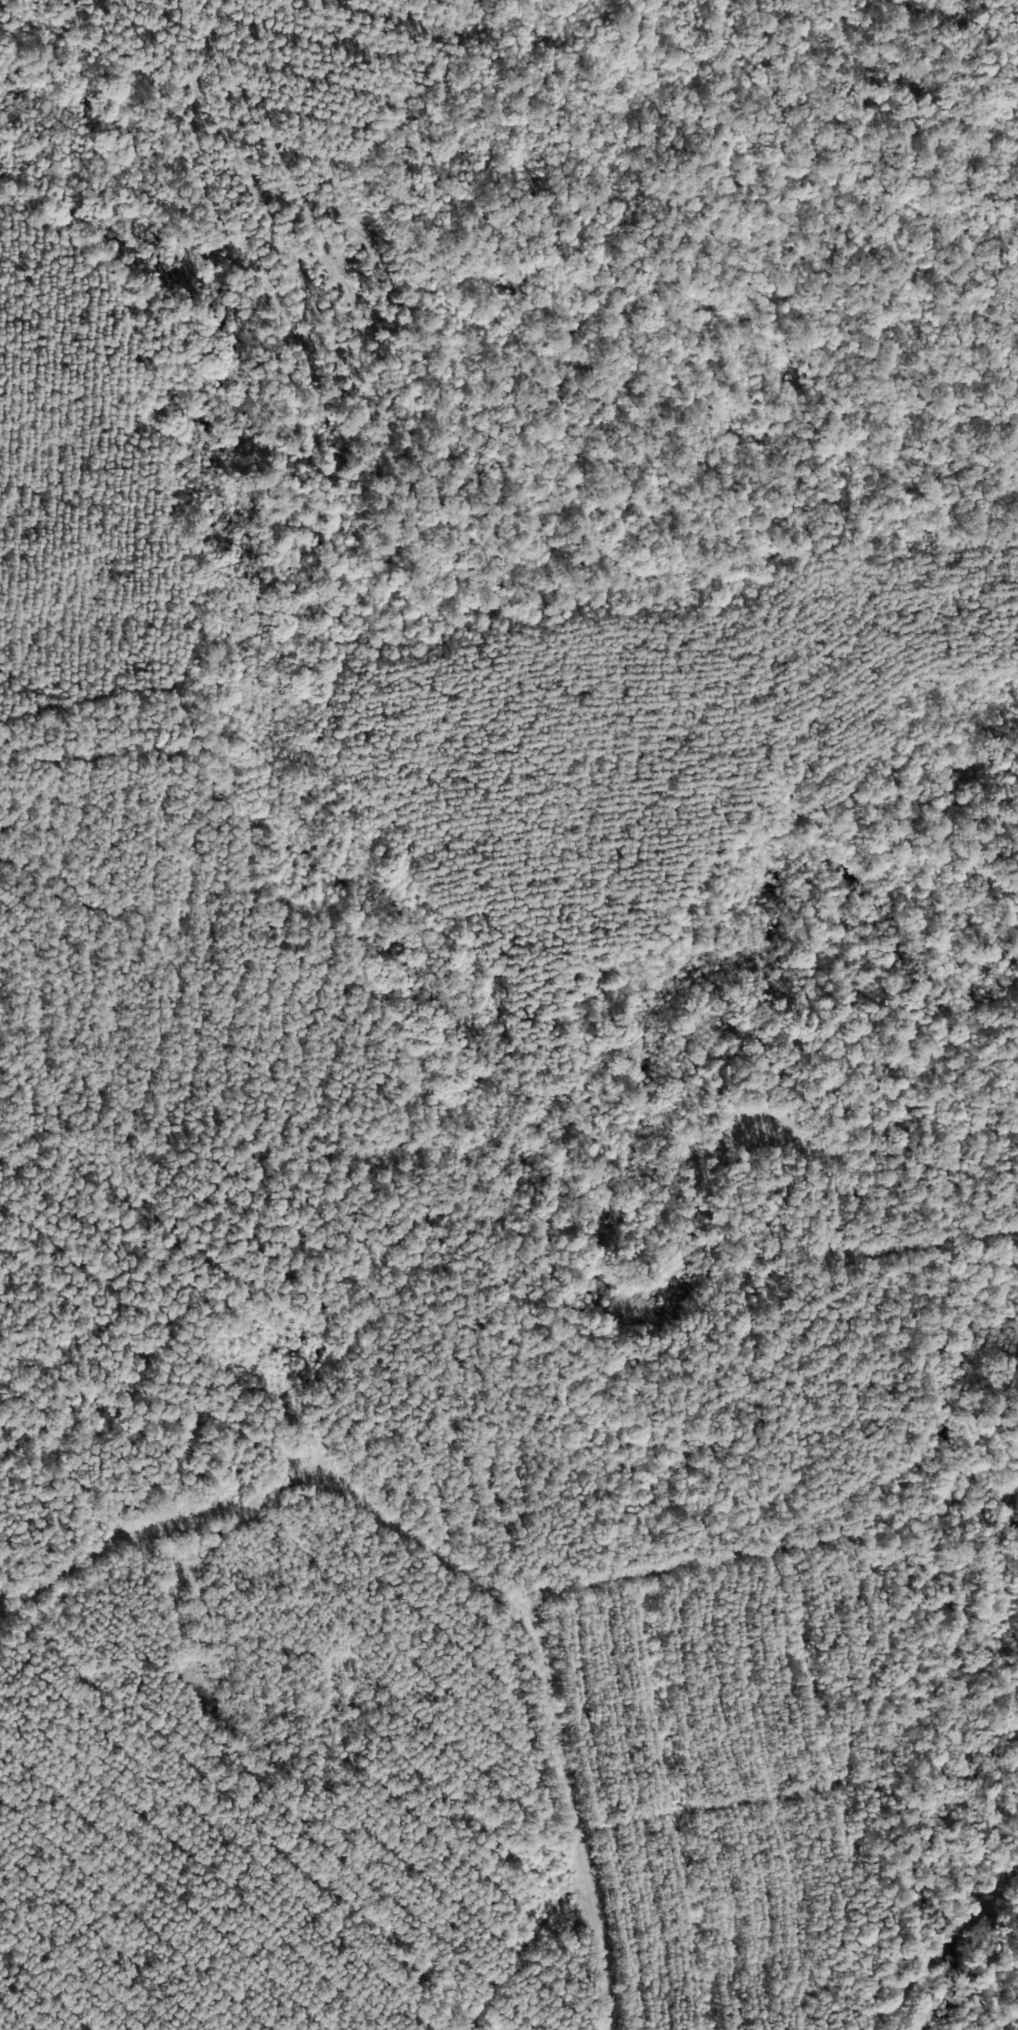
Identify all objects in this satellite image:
road: (876, 1230)
road: (512, 1637)

